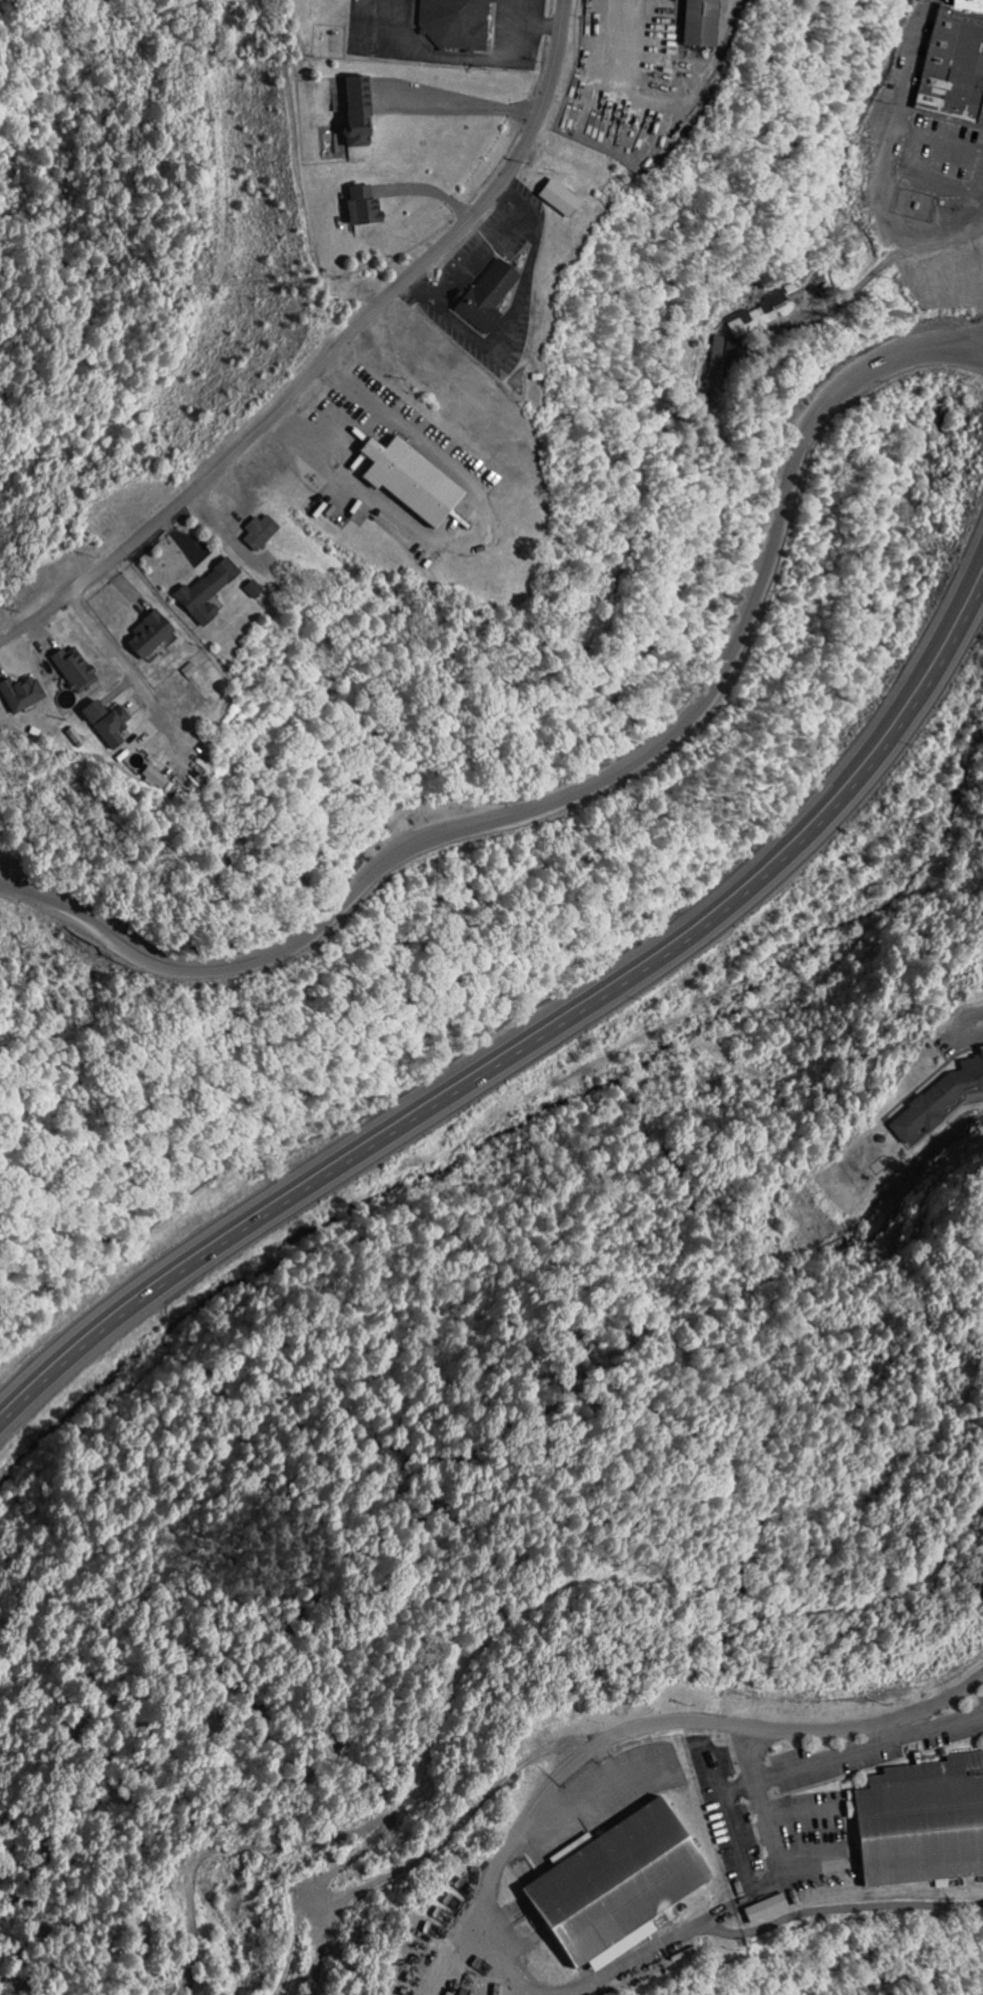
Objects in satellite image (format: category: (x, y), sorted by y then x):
building: (701, 23)
building: (455, 24)
building: (961, 67)
building: (357, 112)
building: (560, 199)
building: (363, 207)
building: (488, 297)
building: (757, 317)
road: (332, 356)
building: (411, 482)
building: (260, 533)
road: (974, 576)
building: (253, 590)
building: (206, 593)
building: (149, 636)
building: (74, 671)
building: (189, 672)
building: (20, 695)
building: (106, 724)
building: (154, 779)
road: (520, 1042)
building: (942, 1101)
road: (716, 1721)
road: (879, 1729)
building: (921, 1823)
building: (614, 1886)
building: (766, 1909)

